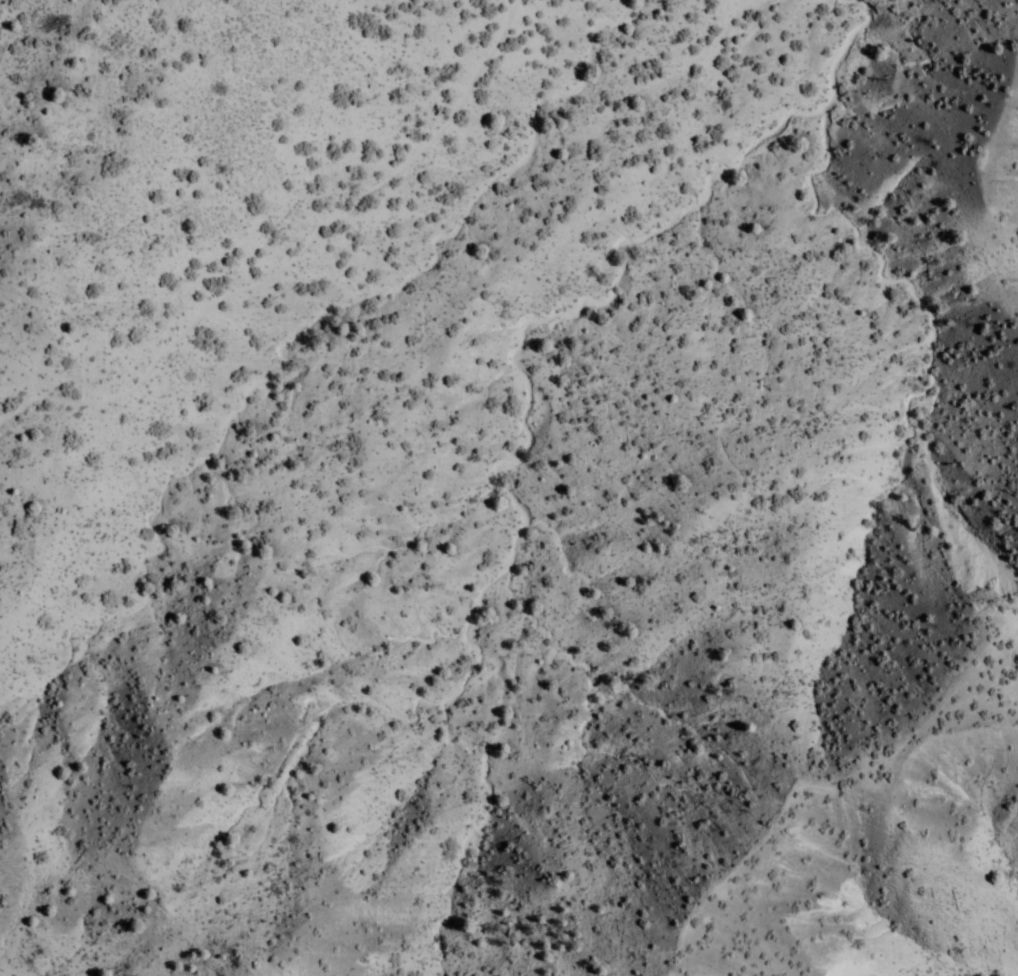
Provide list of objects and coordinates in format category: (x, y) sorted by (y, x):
road: (293, 261)

